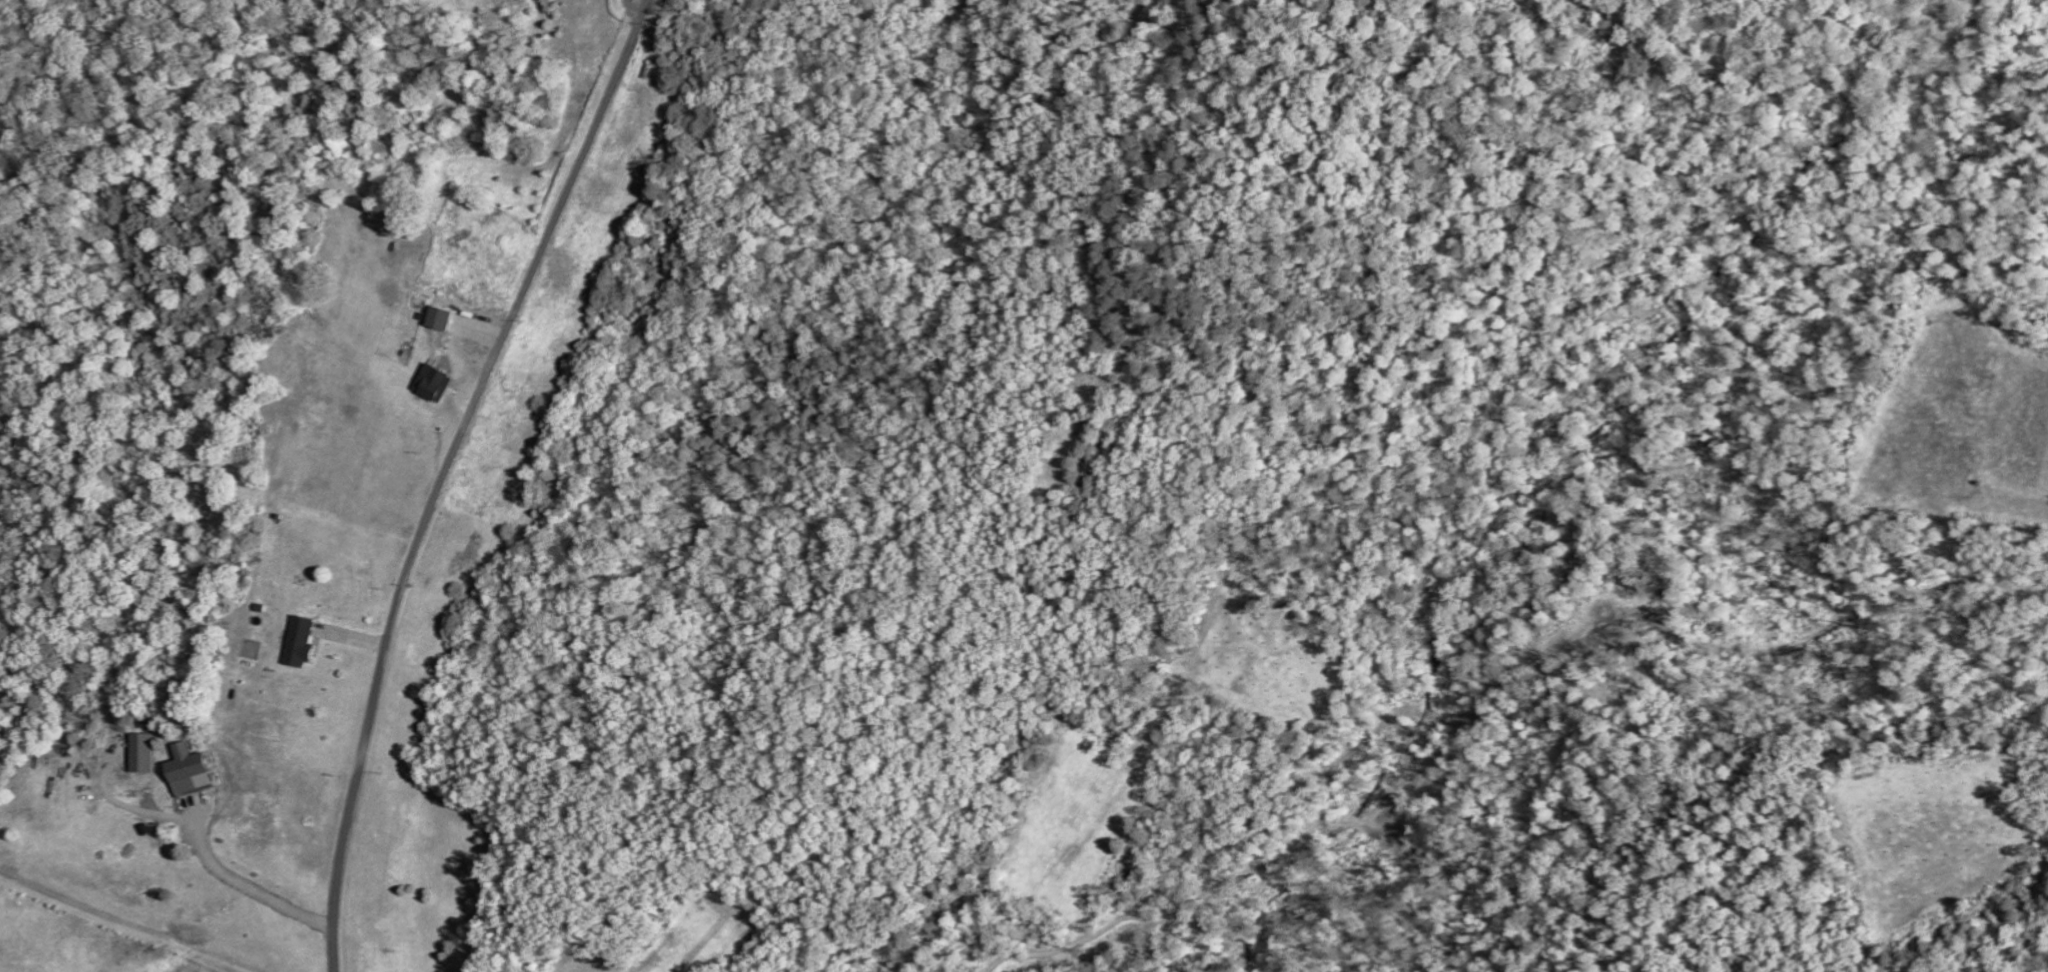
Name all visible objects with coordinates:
building: (446, 317)
building: (439, 383)
road: (445, 472)
building: (308, 642)
building: (146, 752)
building: (196, 771)

